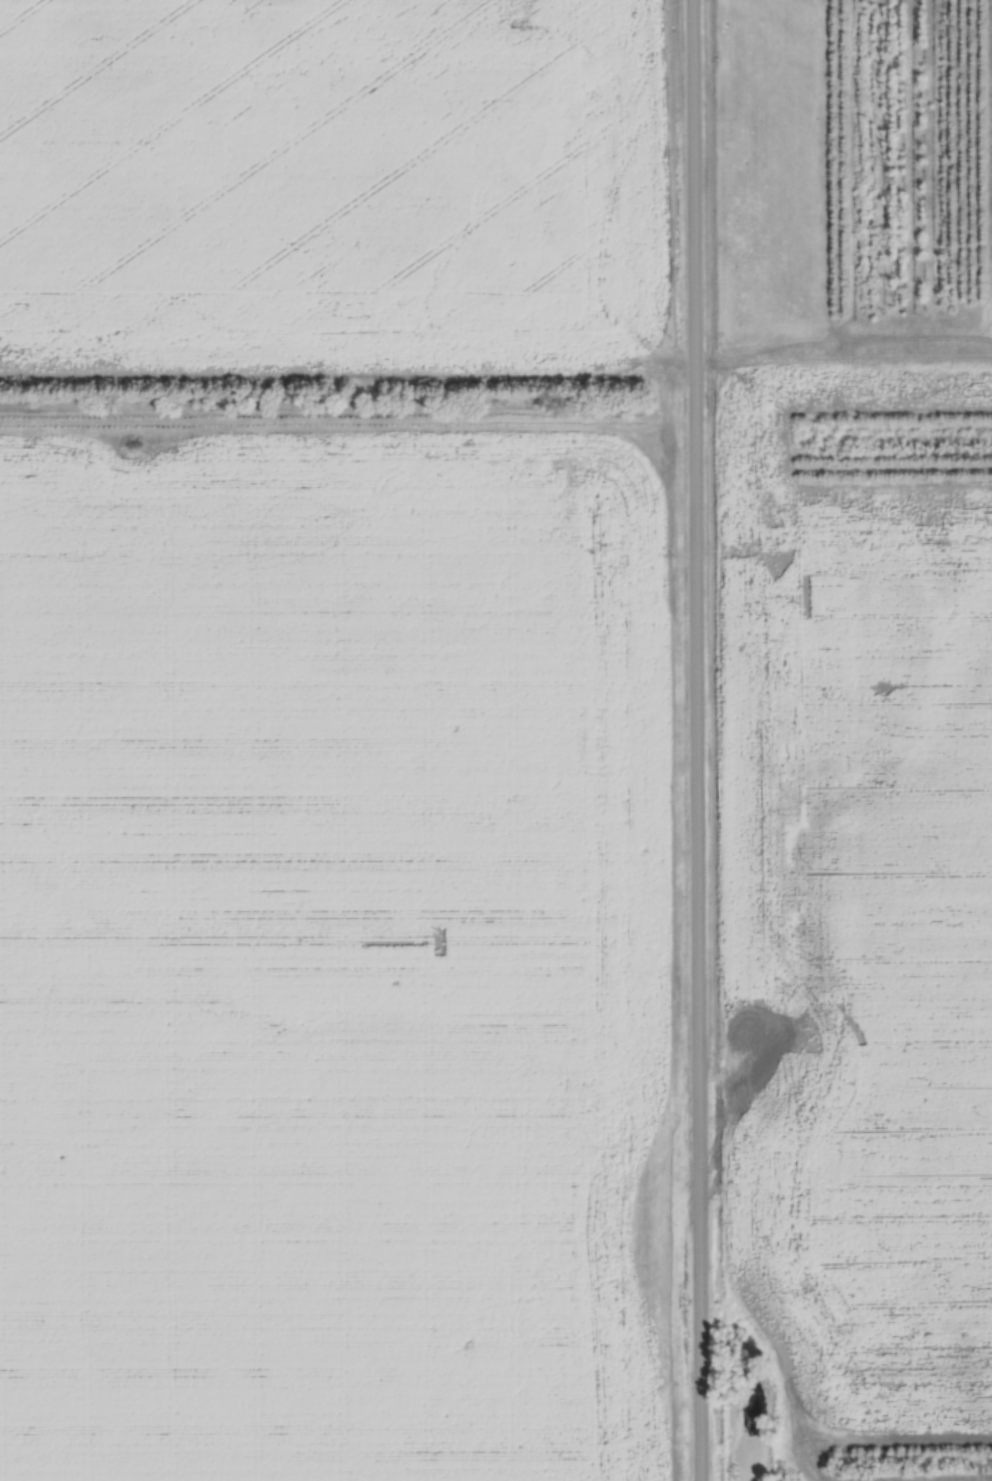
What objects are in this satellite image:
road: (496, 356)
road: (698, 740)

